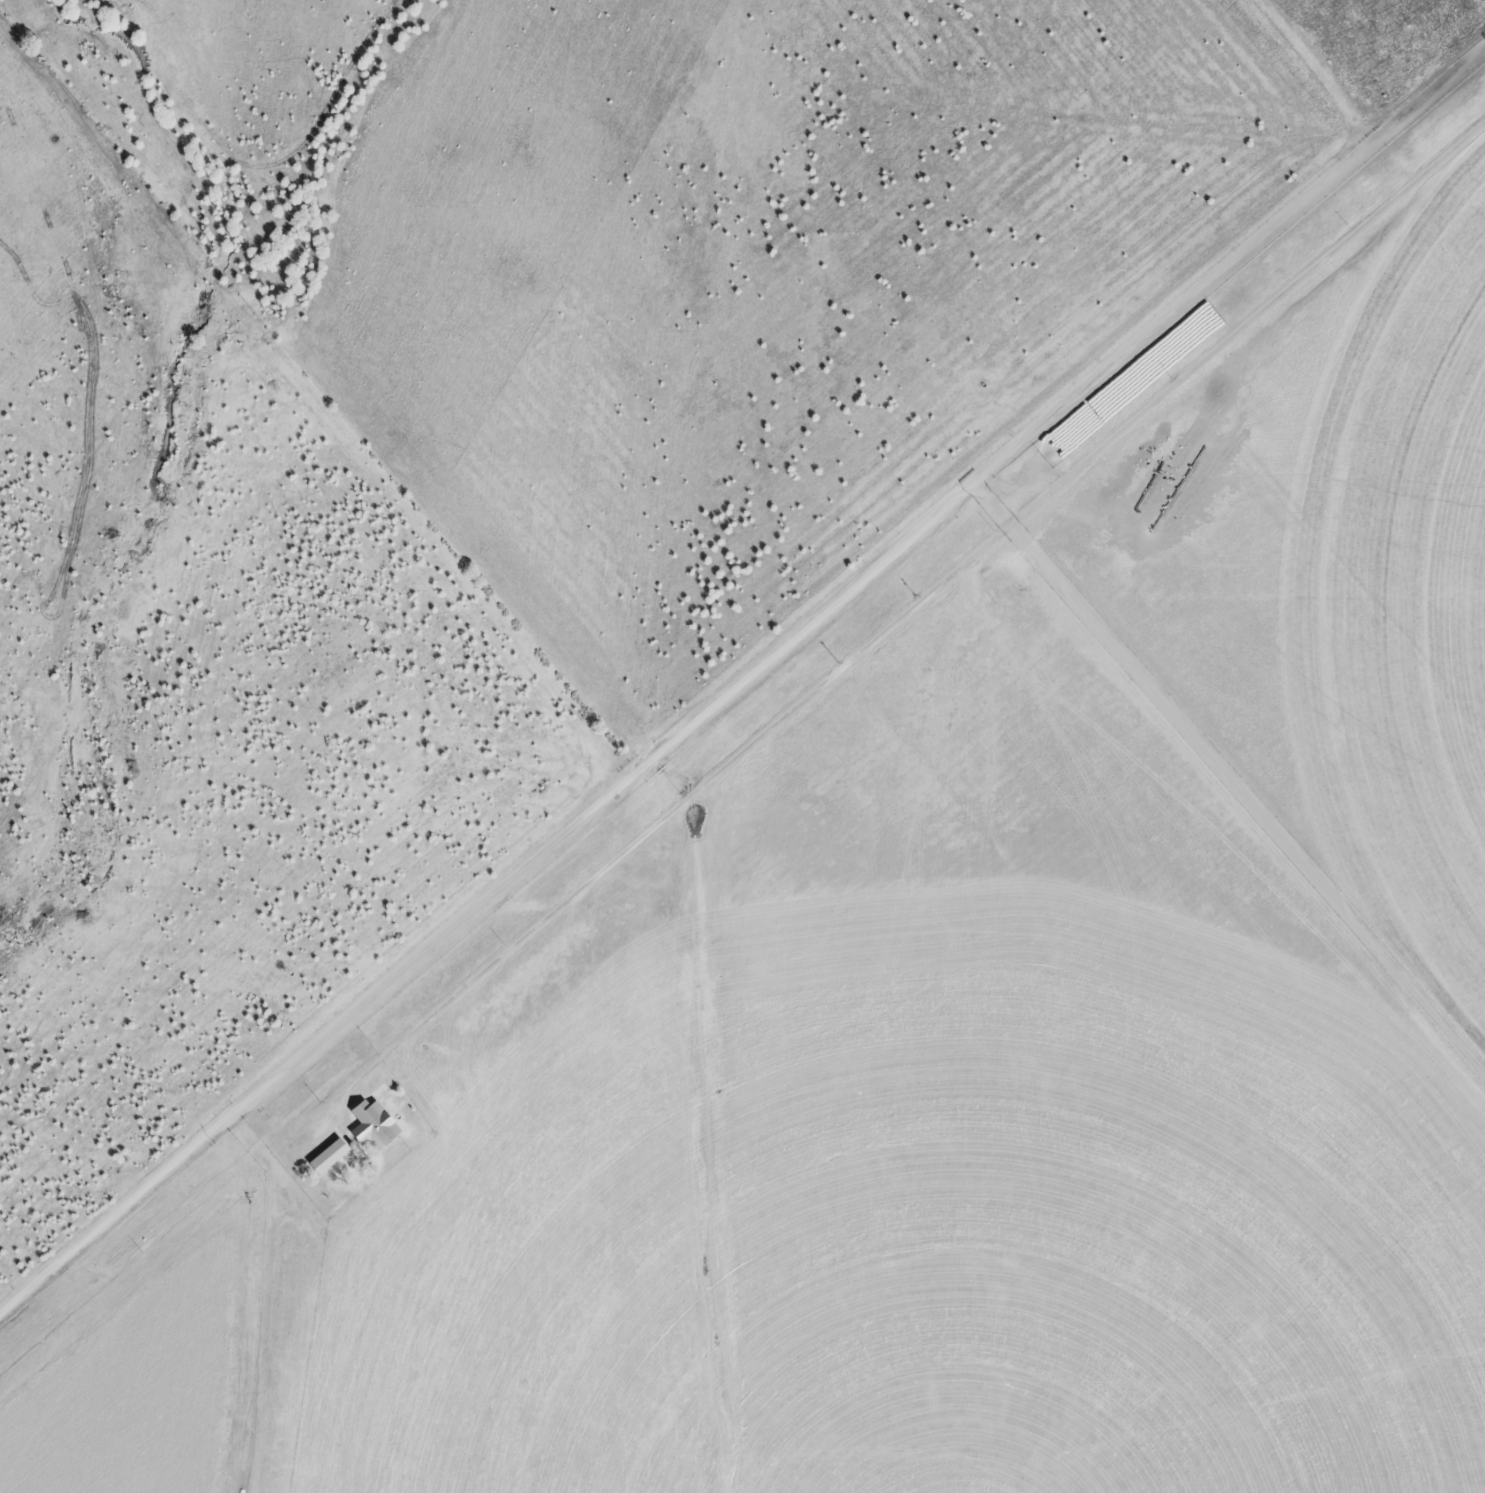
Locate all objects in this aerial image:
building: (372, 1128)
building: (327, 1158)

